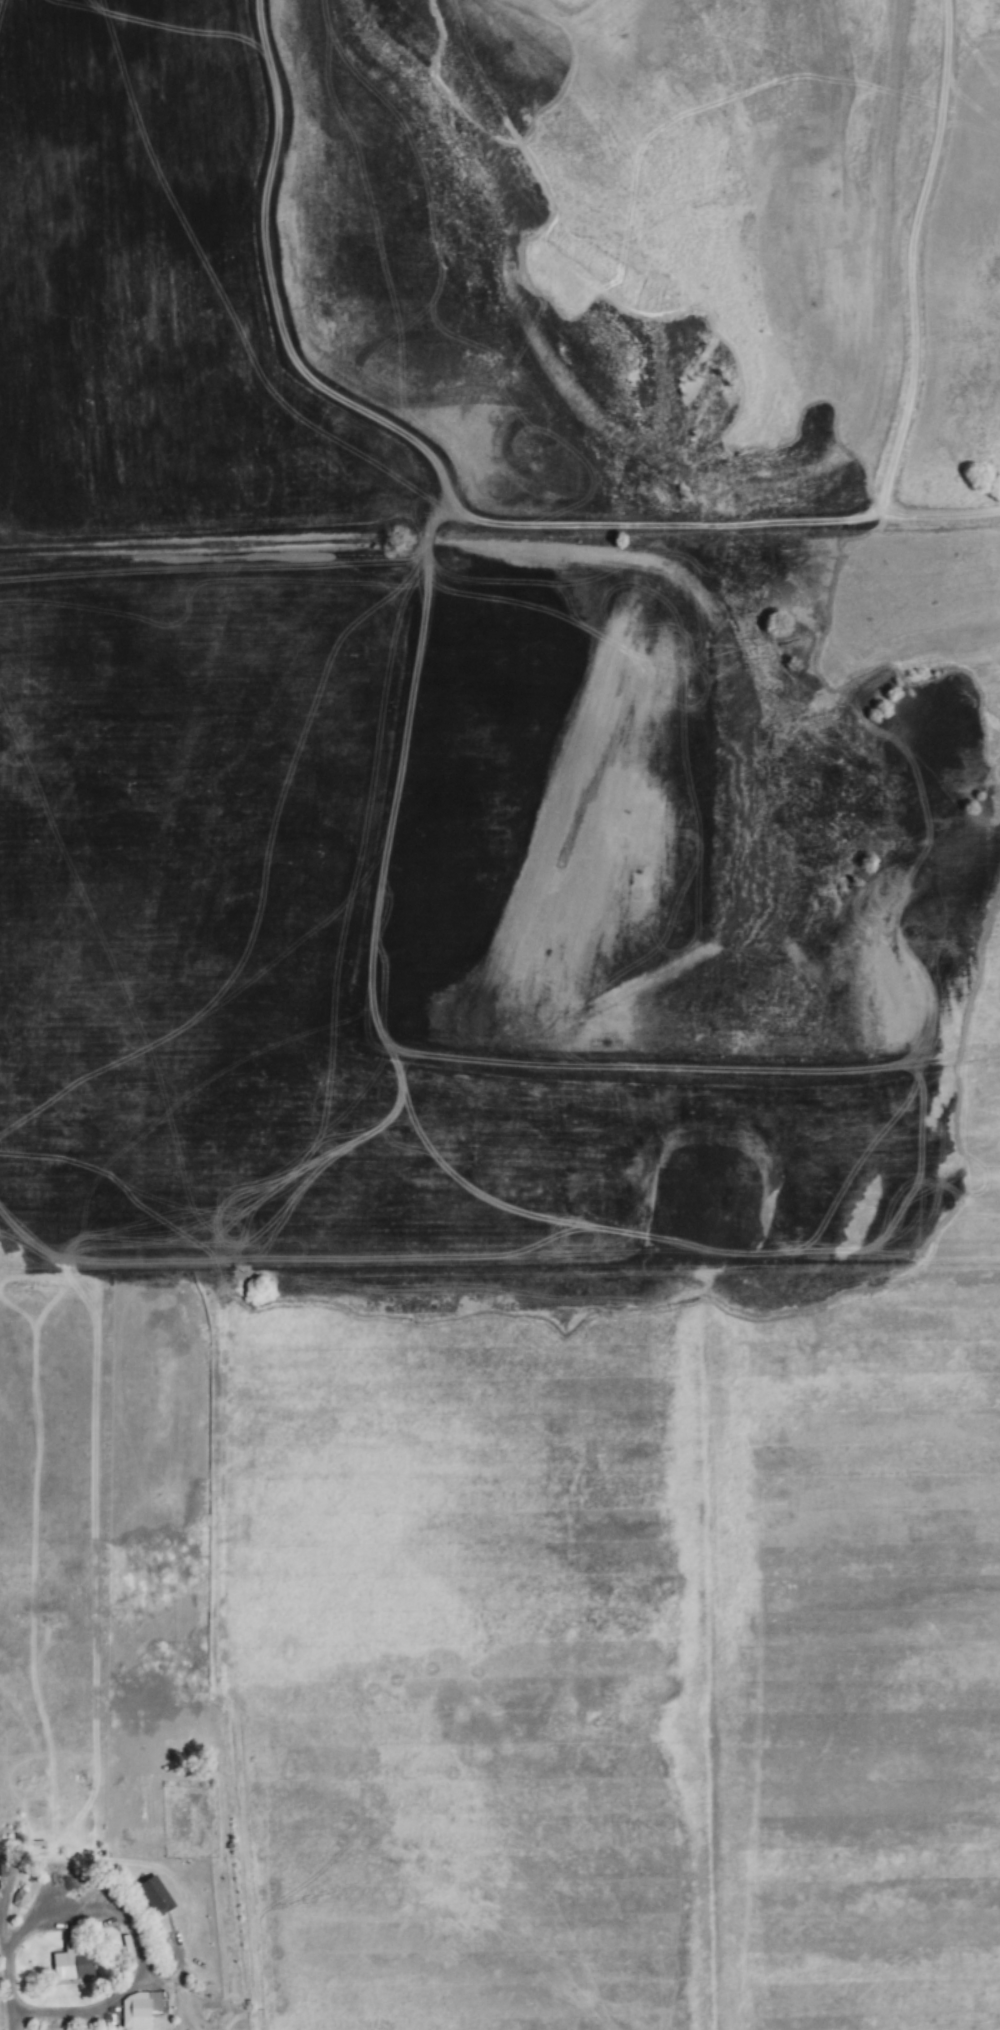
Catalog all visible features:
building: (154, 1896)
road: (125, 1919)
building: (70, 1965)
building: (138, 2010)
road: (11, 2022)

